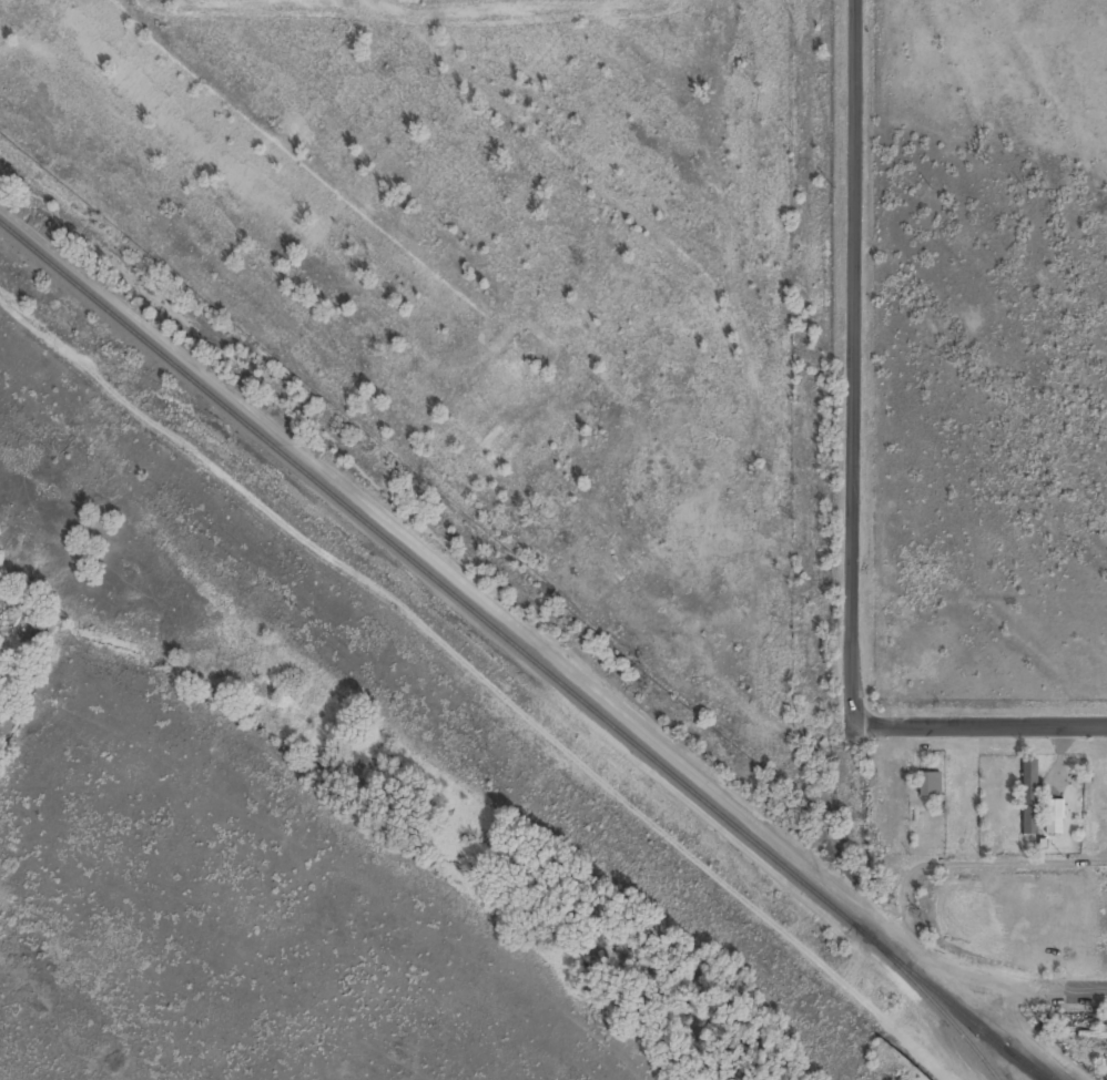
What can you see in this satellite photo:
road: (852, 364)
railway: (521, 649)
road: (979, 729)
building: (928, 783)
building: (1029, 784)
building: (1053, 815)
road: (1015, 864)
road: (1086, 994)

